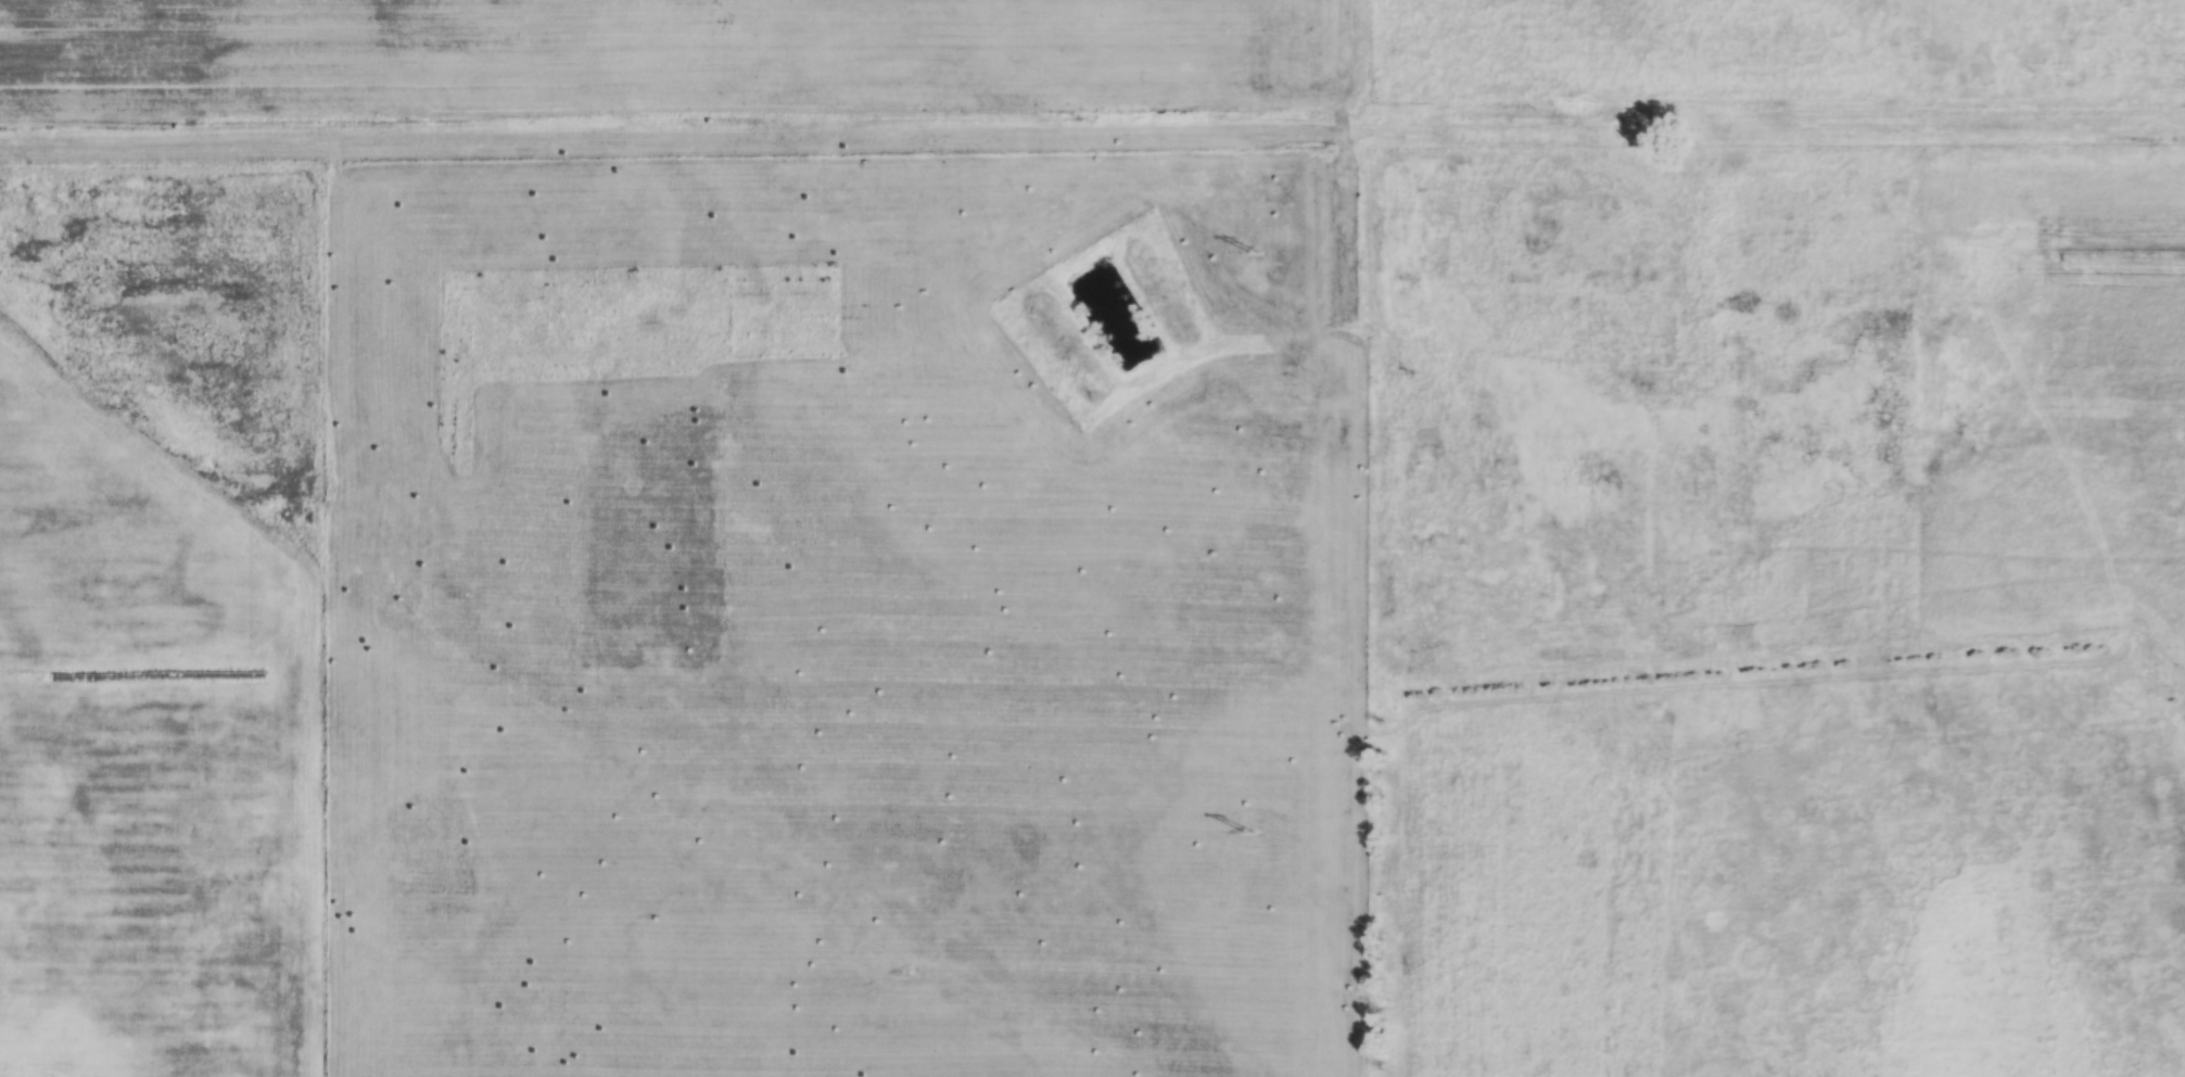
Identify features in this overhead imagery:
road: (1756, 140)
road: (663, 143)
power tower: (1255, 252)
road: (1335, 537)
power tower: (1247, 832)

